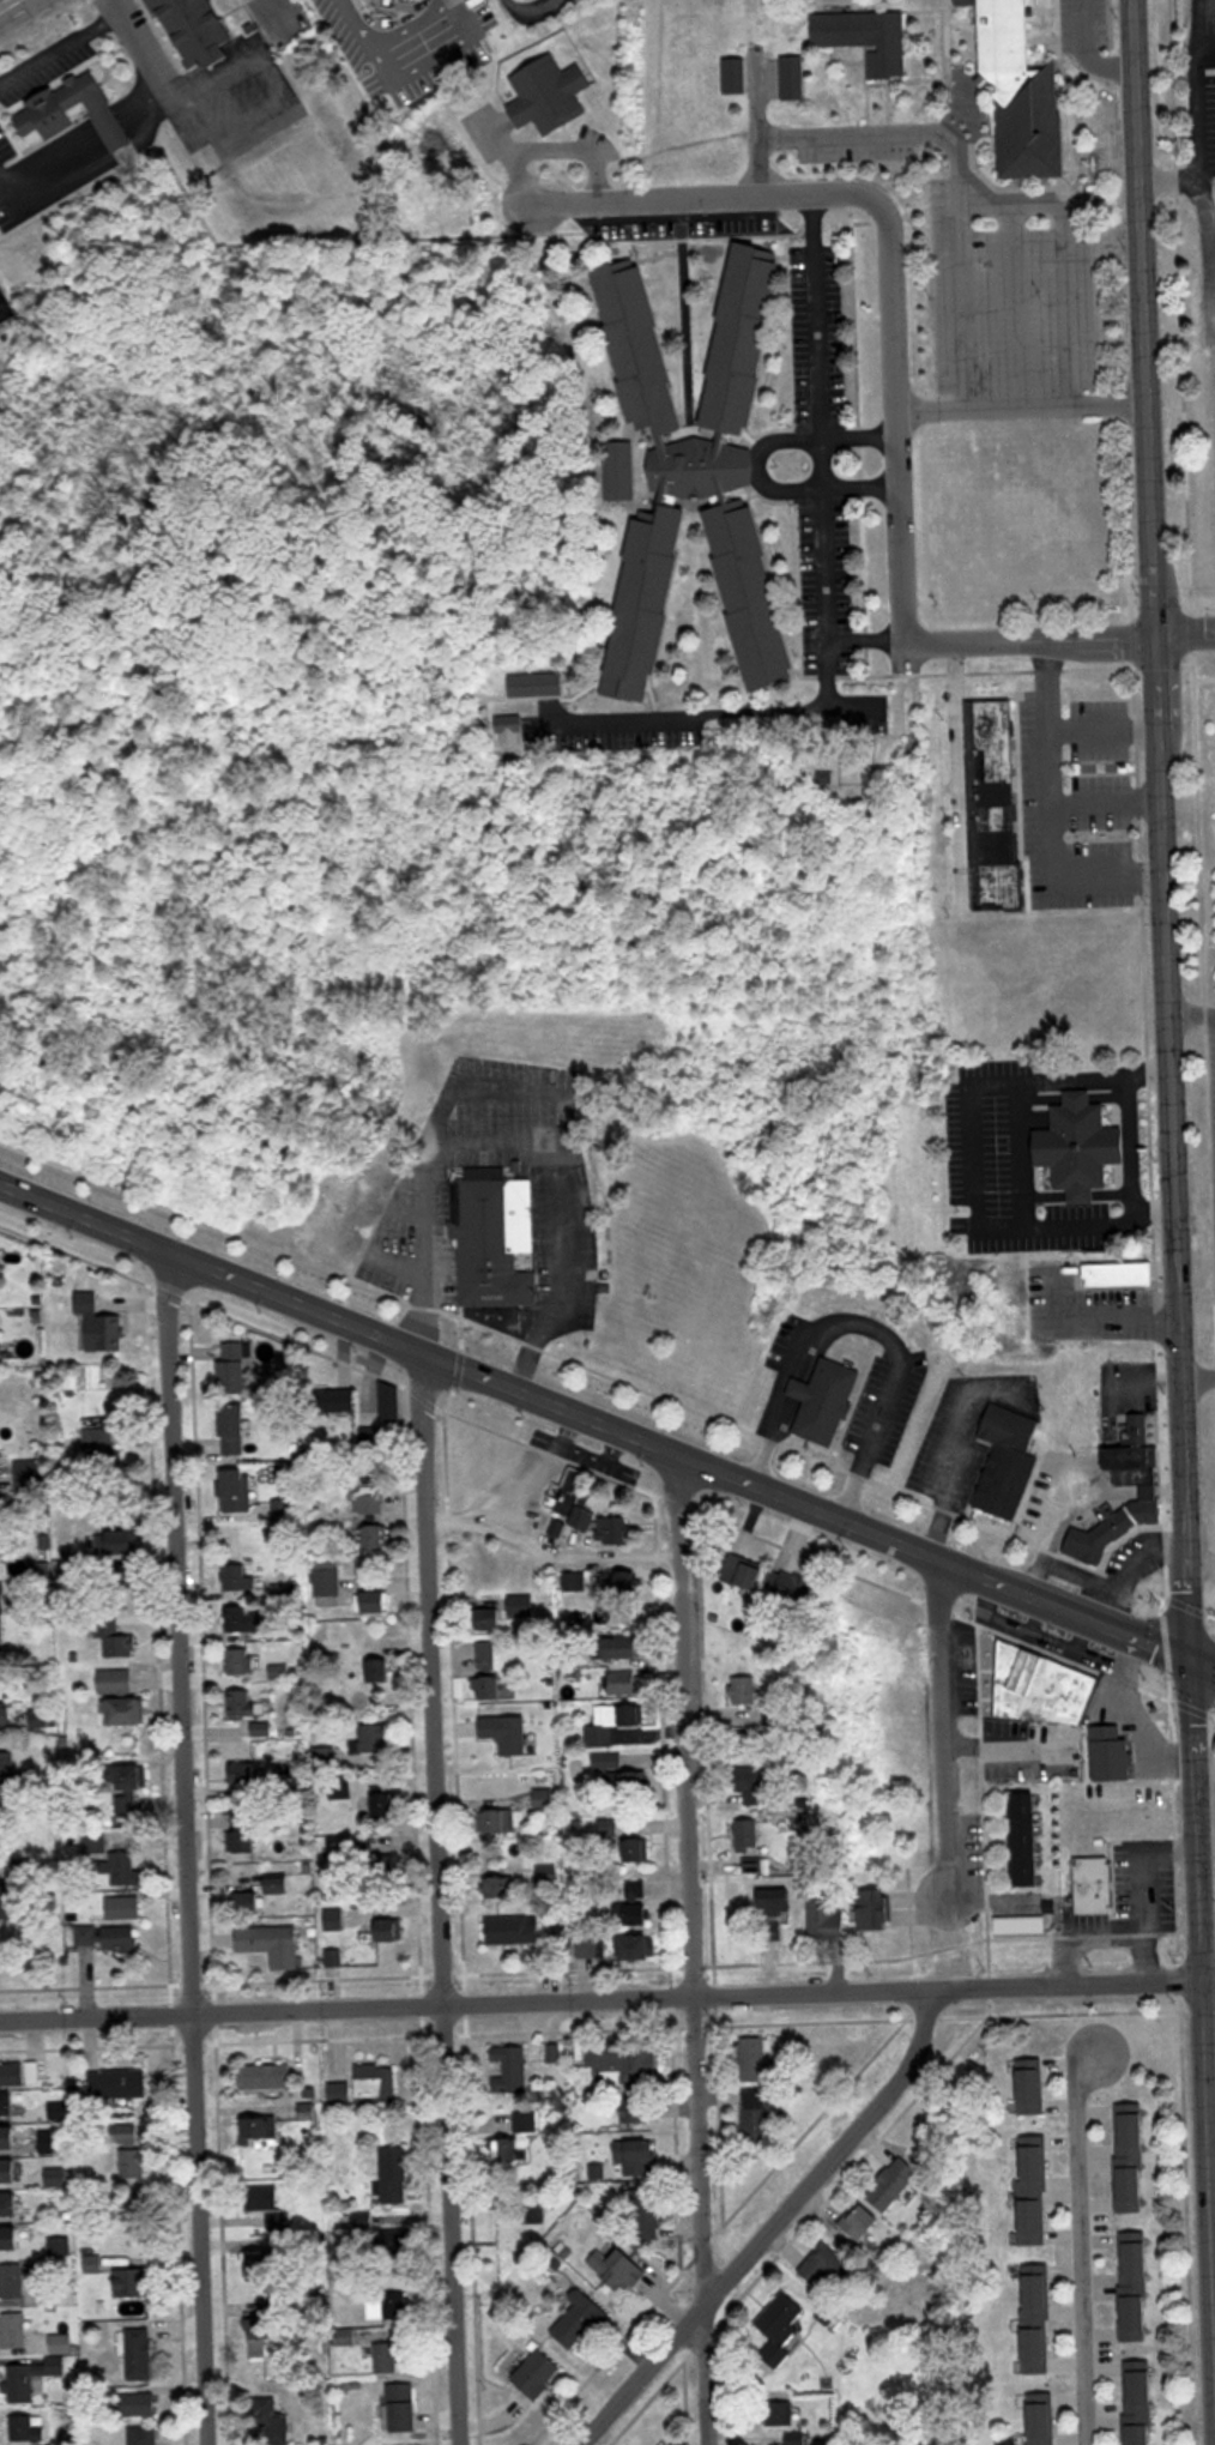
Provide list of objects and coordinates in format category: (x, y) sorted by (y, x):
road: (526, 11)
road: (1193, 23)
building: (193, 30)
building: (868, 37)
road: (1204, 44)
road: (54, 56)
road: (1086, 56)
road: (133, 61)
road: (404, 72)
building: (736, 76)
building: (793, 77)
building: (550, 95)
building: (1021, 97)
building: (69, 114)
road: (1192, 115)
road: (752, 128)
road: (83, 176)
road: (951, 182)
road: (702, 195)
road: (1199, 233)
road: (1063, 255)
building: (6, 308)
road: (1214, 332)
road: (818, 345)
road: (1017, 411)
road: (887, 419)
road: (761, 464)
building: (693, 470)
building: (621, 471)
road: (828, 490)
road: (826, 600)
road: (1185, 632)
road: (1032, 640)
building: (536, 684)
road: (738, 713)
road: (1106, 730)
park: (860, 781)
road: (1107, 803)
road: (1052, 804)
building: (995, 805)
stadium: (1208, 840)
road: (1191, 1014)
road: (515, 1139)
building: (1080, 1146)
road: (975, 1149)
road: (1171, 1169)
building: (495, 1237)
building: (1120, 1275)
building: (98, 1324)
road: (869, 1324)
building: (234, 1366)
road: (1196, 1376)
building: (344, 1400)
building: (391, 1401)
building: (826, 1402)
road: (593, 1423)
building: (234, 1427)
building: (98, 1441)
road: (948, 1454)
building: (0, 1459)
road: (598, 1459)
building: (1008, 1460)
road: (543, 1474)
building: (236, 1490)
building: (1150, 1493)
building: (371, 1502)
building: (283, 1508)
building: (568, 1517)
road: (1051, 1532)
building: (1, 1534)
building: (376, 1535)
building: (114, 1541)
road: (543, 1554)
building: (744, 1570)
road: (1128, 1570)
road: (1075, 1574)
building: (247, 1578)
building: (327, 1580)
building: (628, 1586)
building: (794, 1589)
building: (377, 1600)
building: (502, 1610)
building: (244, 1618)
building: (1, 1625)
building: (114, 1636)
building: (627, 1647)
building: (238, 1660)
road: (1202, 1661)
building: (489, 1668)
building: (379, 1670)
building: (279, 1671)
building: (116, 1680)
building: (625, 1685)
building: (1041, 1688)
building: (744, 1689)
building: (242, 1703)
building: (127, 1710)
building: (6, 1714)
building: (40, 1717)
building: (616, 1723)
road: (943, 1725)
building: (261, 1728)
building: (512, 1735)
building: (374, 1743)
building: (1112, 1753)
building: (330, 1756)
building: (7, 1773)
building: (244, 1773)
building: (132, 1776)
building: (619, 1777)
building: (755, 1786)
building: (337, 1787)
building: (544, 1798)
building: (385, 1804)
building: (502, 1821)
building: (607, 1829)
building: (243, 1830)
building: (748, 1835)
building: (1028, 1837)
building: (365, 1845)
road: (180, 1847)
building: (637, 1849)
building: (784, 1851)
building: (386, 1860)
building: (126, 1867)
road: (1143, 1874)
building: (500, 1883)
building: (279, 1884)
building: (1095, 1884)
road: (430, 1897)
building: (250, 1901)
building: (775, 1902)
building: (123, 1907)
building: (875, 1909)
building: (639, 1914)
building: (827, 1918)
building: (334, 1919)
building: (391, 1930)
building: (509, 1930)
building: (109, 1937)
road: (1102, 1937)
building: (273, 1943)
building: (593, 1946)
building: (640, 1946)
road: (684, 1950)
road: (1208, 1976)
road: (600, 1999)
building: (756, 2058)
building: (512, 2069)
building: (12, 2073)
building: (267, 2076)
building: (119, 2083)
building: (1032, 2085)
building: (365, 2087)
building: (8, 2103)
building: (639, 2107)
building: (758, 2114)
building: (129, 2132)
building: (524, 2136)
building: (20, 2139)
building: (261, 2139)
building: (635, 2155)
building: (1131, 2156)
building: (134, 2163)
building: (11, 2171)
building: (394, 2174)
building: (893, 2184)
building: (1034, 2190)
building: (266, 2200)
building: (10, 2204)
building: (648, 2211)
building: (862, 2221)
building: (513, 2226)
road: (770, 2226)
building: (12, 2238)
building: (397, 2239)
building: (61, 2246)
road: (1082, 2247)
building: (265, 2263)
building: (93, 2264)
building: (828, 2265)
building: (619, 2268)
building: (12, 2281)
building: (134, 2283)
building: (1135, 2287)
building: (385, 2310)
building: (1036, 2318)
building: (581, 2320)
building: (781, 2328)
building: (14, 2330)
building: (261, 2338)
building: (62, 2344)
building: (140, 2355)
building: (387, 2358)
building: (538, 2374)
building: (29, 2379)
building: (1141, 2403)
building: (138, 2404)
building: (404, 2408)
building: (780, 2414)
building: (1041, 2419)
building: (272, 2421)
building: (38, 2429)
building: (141, 2435)

